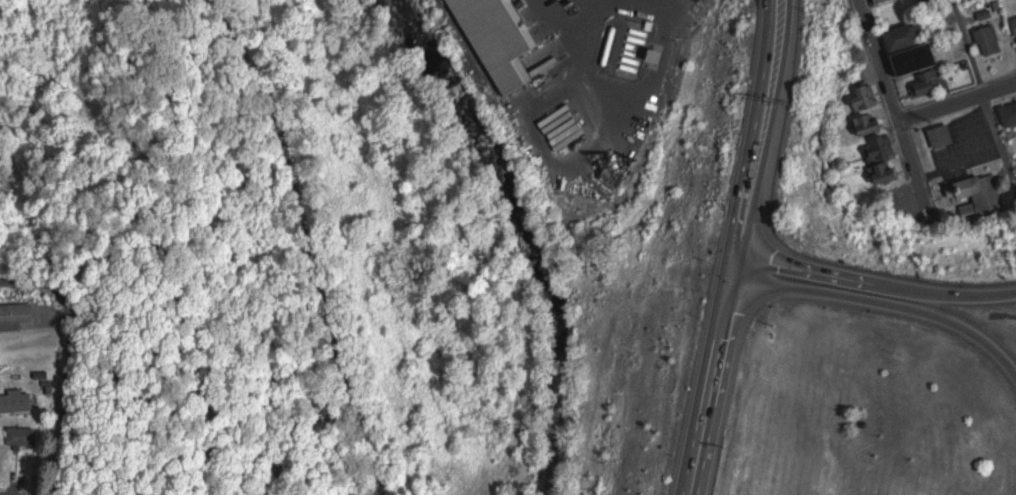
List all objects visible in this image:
building: (880, 1)
parking lot: (574, 18)
building: (1015, 19)
building: (905, 35)
building: (517, 39)
building: (992, 39)
building: (917, 58)
road: (41, 73)
building: (933, 82)
road: (986, 89)
building: (869, 96)
road: (959, 105)
road: (898, 110)
building: (1011, 114)
building: (871, 123)
building: (945, 135)
building: (884, 146)
building: (887, 171)
building: (981, 186)
parking lot: (907, 208)
river: (526, 234)
road: (312, 241)
road: (745, 248)
traffic signals: (742, 268)
road: (878, 285)
road: (885, 304)
building: (16, 316)
road: (77, 359)
building: (17, 402)
building: (24, 436)

